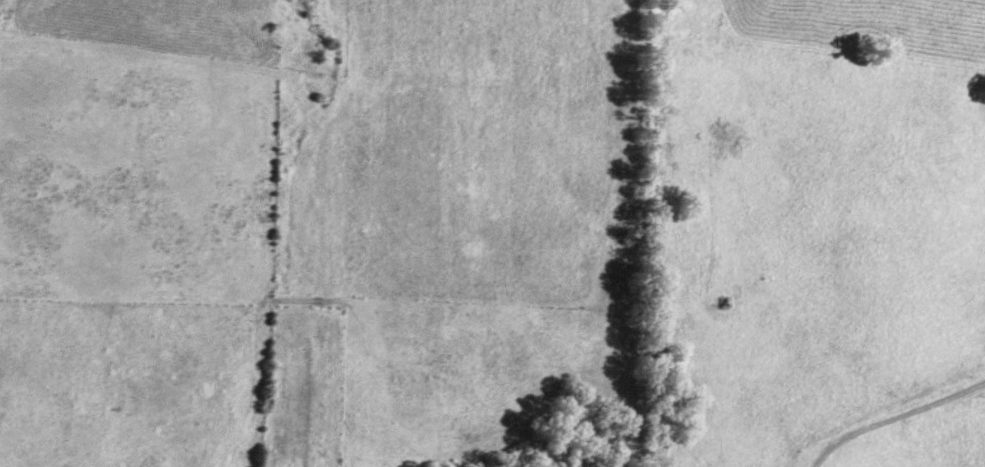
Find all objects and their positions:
road: (893, 418)

